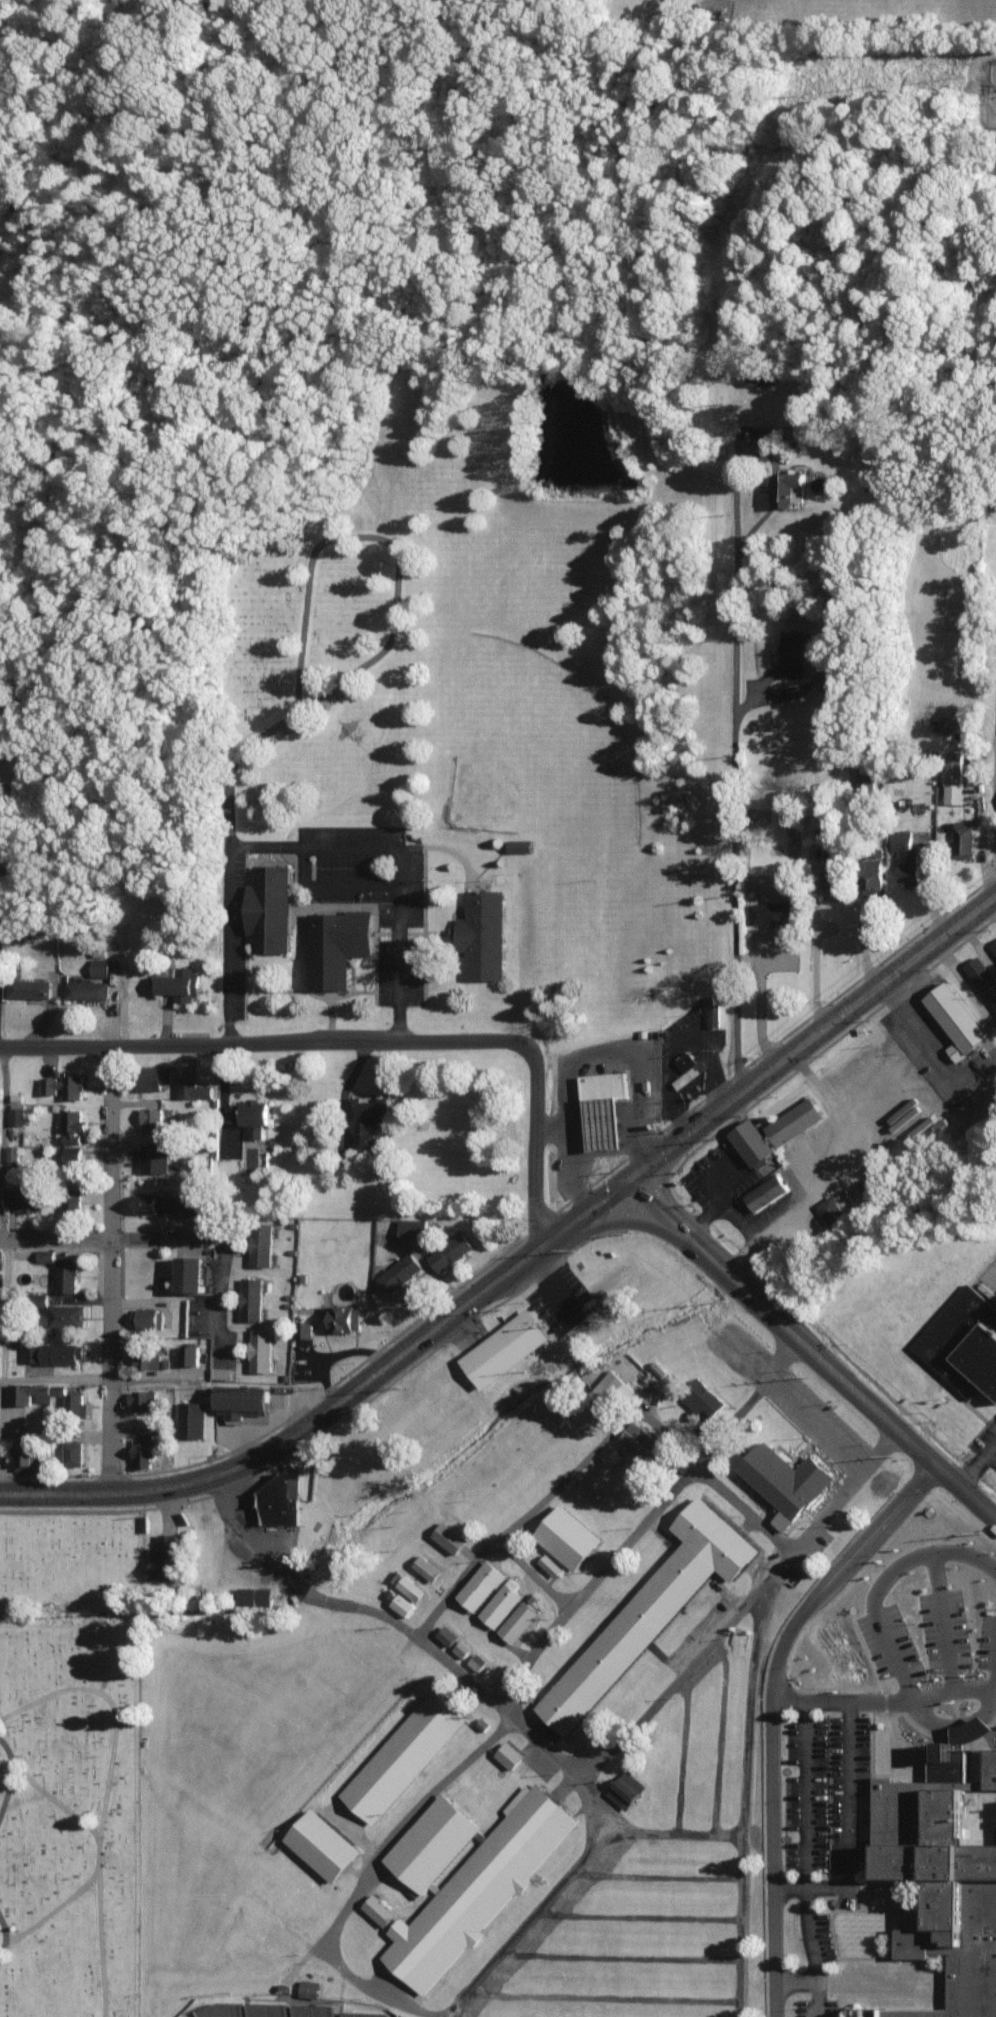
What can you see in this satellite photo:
building: (760, 432)
building: (788, 485)
road: (352, 530)
building: (792, 651)
road: (733, 698)
building: (967, 723)
building: (954, 776)
road: (980, 822)
building: (964, 837)
building: (519, 844)
road: (409, 853)
building: (907, 856)
road: (237, 858)
building: (831, 869)
building: (872, 873)
road: (858, 895)
road: (991, 904)
building: (269, 906)
building: (770, 911)
building: (482, 932)
road: (815, 935)
road: (978, 940)
building: (337, 944)
building: (993, 945)
building: (98, 965)
building: (983, 976)
road: (966, 977)
building: (180, 982)
building: (27, 986)
building: (85, 988)
road: (861, 995)
road: (912, 996)
road: (761, 1004)
building: (710, 1009)
building: (957, 1018)
road: (368, 1033)
road: (677, 1039)
road: (931, 1045)
road: (590, 1052)
building: (687, 1060)
building: (153, 1076)
road: (355, 1080)
building: (62, 1084)
road: (232, 1087)
building: (192, 1088)
building: (605, 1106)
building: (234, 1111)
building: (17, 1114)
building: (257, 1114)
building: (366, 1117)
building: (151, 1118)
building: (795, 1119)
building: (72, 1124)
road: (554, 1127)
road: (682, 1133)
road: (2, 1137)
building: (753, 1140)
building: (12, 1151)
building: (71, 1151)
building: (154, 1155)
road: (857, 1155)
traffic signals: (638, 1168)
road: (710, 1182)
building: (765, 1192)
road: (602, 1195)
building: (25, 1197)
building: (71, 1201)
building: (151, 1201)
building: (190, 1202)
building: (830, 1209)
road: (624, 1217)
road: (741, 1221)
building: (412, 1225)
road: (54, 1233)
road: (688, 1233)
road: (217, 1241)
building: (261, 1244)
road: (532, 1249)
building: (450, 1250)
building: (45, 1253)
road: (108, 1267)
building: (400, 1271)
building: (192, 1272)
building: (66, 1273)
building: (39, 1297)
building: (251, 1297)
building: (66, 1313)
building: (147, 1316)
building: (343, 1316)
building: (303, 1328)
road: (2, 1342)
building: (505, 1347)
building: (260, 1348)
building: (31, 1351)
building: (984, 1351)
building: (61, 1352)
building: (189, 1353)
building: (146, 1354)
road: (781, 1356)
building: (221, 1371)
road: (55, 1378)
road: (841, 1378)
building: (612, 1389)
building: (28, 1391)
building: (702, 1397)
building: (142, 1398)
building: (242, 1399)
road: (749, 1400)
building: (75, 1402)
road: (797, 1402)
building: (191, 1418)
road: (679, 1429)
building: (59, 1433)
parking lot: (990, 1436)
building: (644, 1441)
road: (715, 1443)
road: (272, 1445)
building: (27, 1450)
building: (142, 1450)
building: (73, 1451)
building: (495, 1454)
building: (613, 1456)
building: (485, 1461)
road: (978, 1466)
building: (785, 1480)
road: (965, 1490)
road: (750, 1498)
building: (278, 1499)
building: (491, 1499)
road: (882, 1519)
road: (516, 1525)
building: (569, 1535)
building: (449, 1536)
building: (166, 1556)
building: (551, 1563)
building: (427, 1566)
road: (543, 1567)
road: (881, 1578)
road: (597, 1580)
building: (481, 1583)
building: (410, 1586)
building: (255, 1595)
building: (501, 1602)
building: (402, 1603)
road: (745, 1603)
building: (654, 1605)
building: (519, 1620)
road: (935, 1621)
road: (427, 1628)
building: (572, 1632)
building: (447, 1634)
building: (216, 1637)
building: (235, 1638)
building: (201, 1643)
building: (478, 1660)
road: (993, 1668)
building: (493, 1673)
building: (352, 1689)
road: (949, 1690)
road: (119, 1696)
road: (841, 1698)
building: (364, 1702)
building: (190, 1710)
road: (954, 1719)
road: (719, 1731)
building: (331, 1744)
building: (404, 1754)
park: (77, 1762)
road: (19, 1775)
building: (293, 1784)
road: (770, 1787)
building: (626, 1789)
road: (752, 1796)
building: (995, 1831)
building: (322, 1842)
road: (108, 1851)
road: (805, 1858)
building: (946, 1865)
road: (582, 1873)
building: (467, 1875)
road: (373, 1876)
building: (379, 1909)
road: (9, 1912)
building: (157, 1922)
road: (109, 1939)
building: (309, 1987)
building: (220, 2009)
building: (266, 2009)
building: (312, 2009)
building: (362, 2013)

